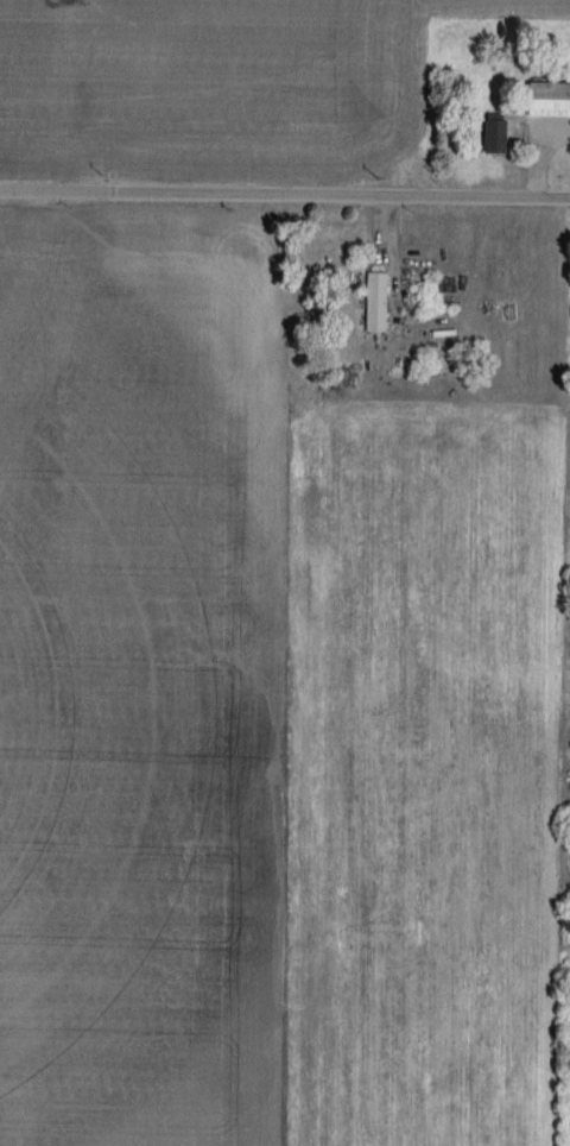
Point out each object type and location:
building: (552, 101)
building: (500, 134)
road: (530, 162)
road: (285, 194)
building: (381, 313)

